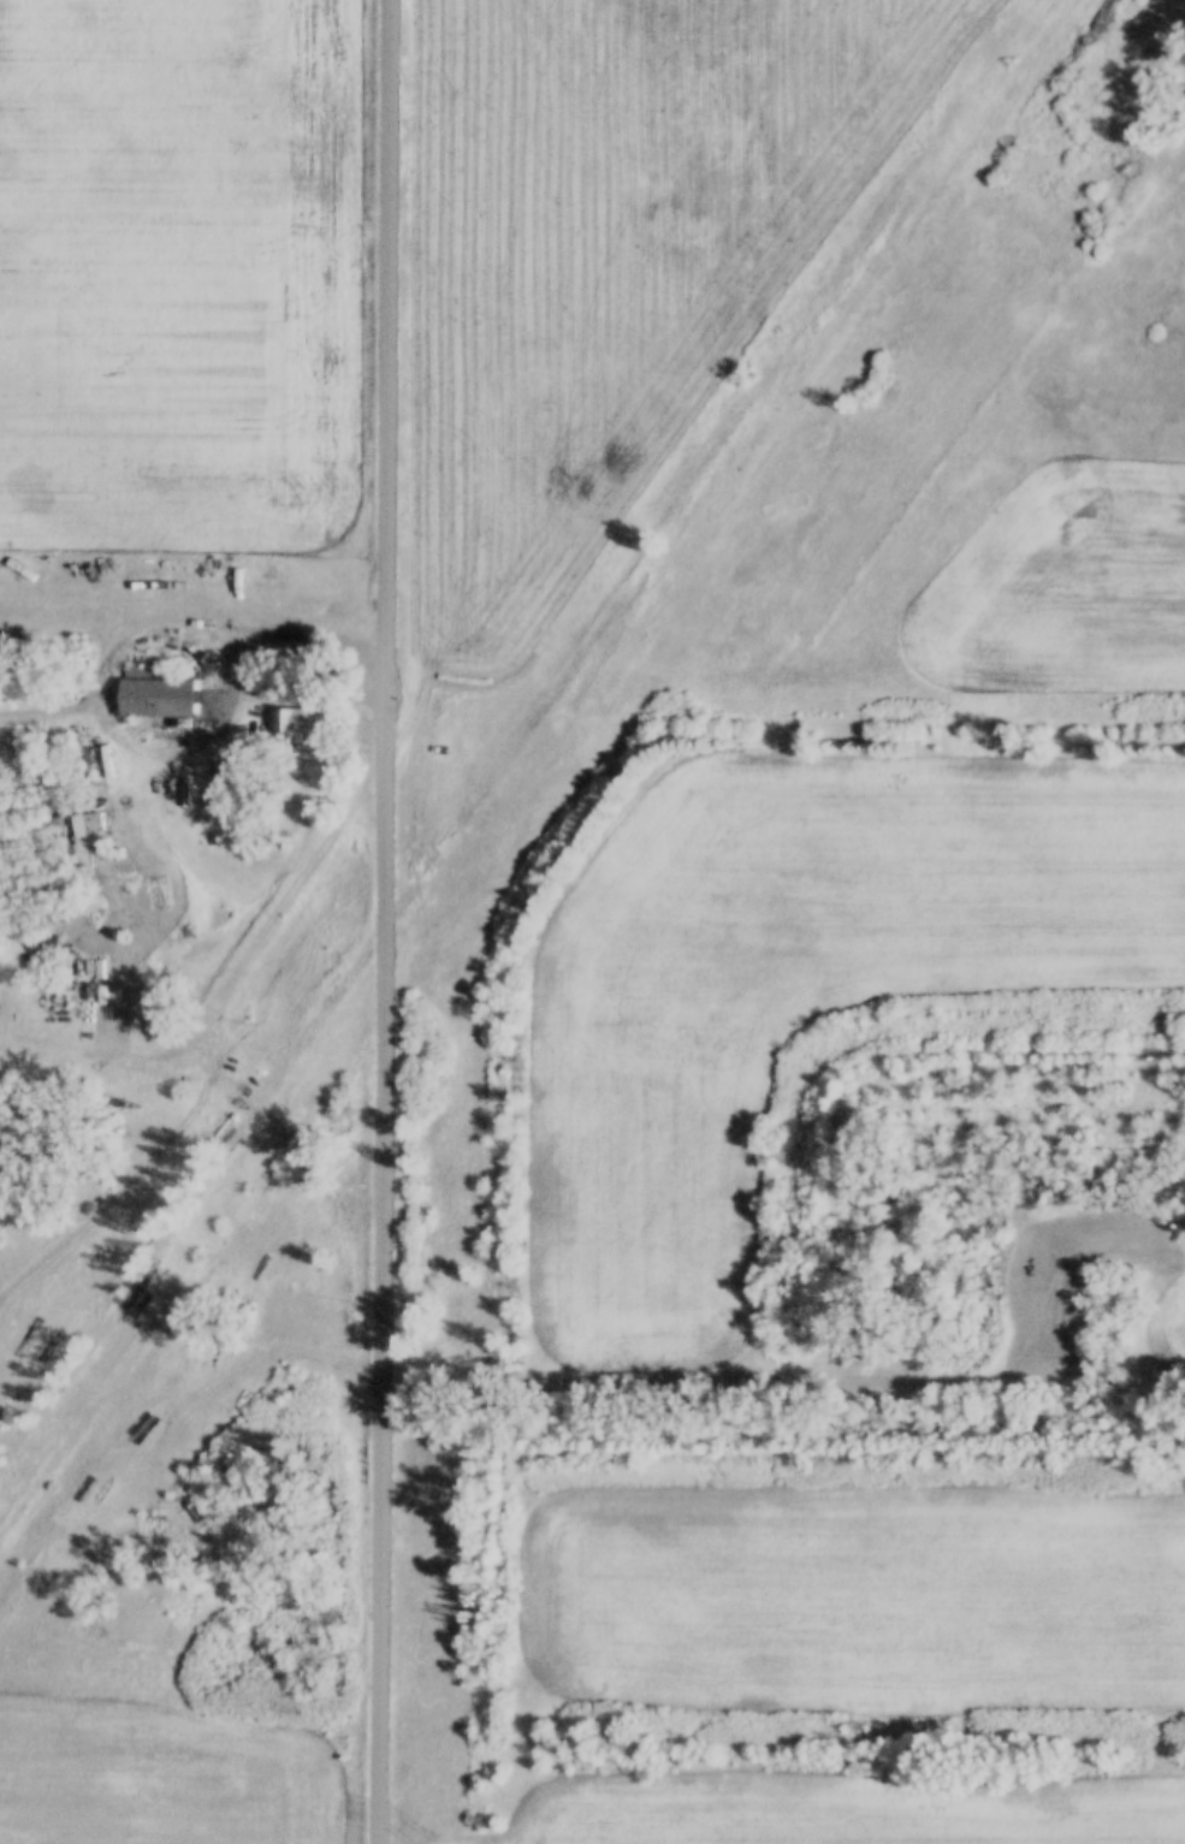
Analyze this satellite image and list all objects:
road: (298, 689)
building: (158, 695)
building: (289, 719)
building: (84, 832)
road: (387, 921)
building: (41, 943)

